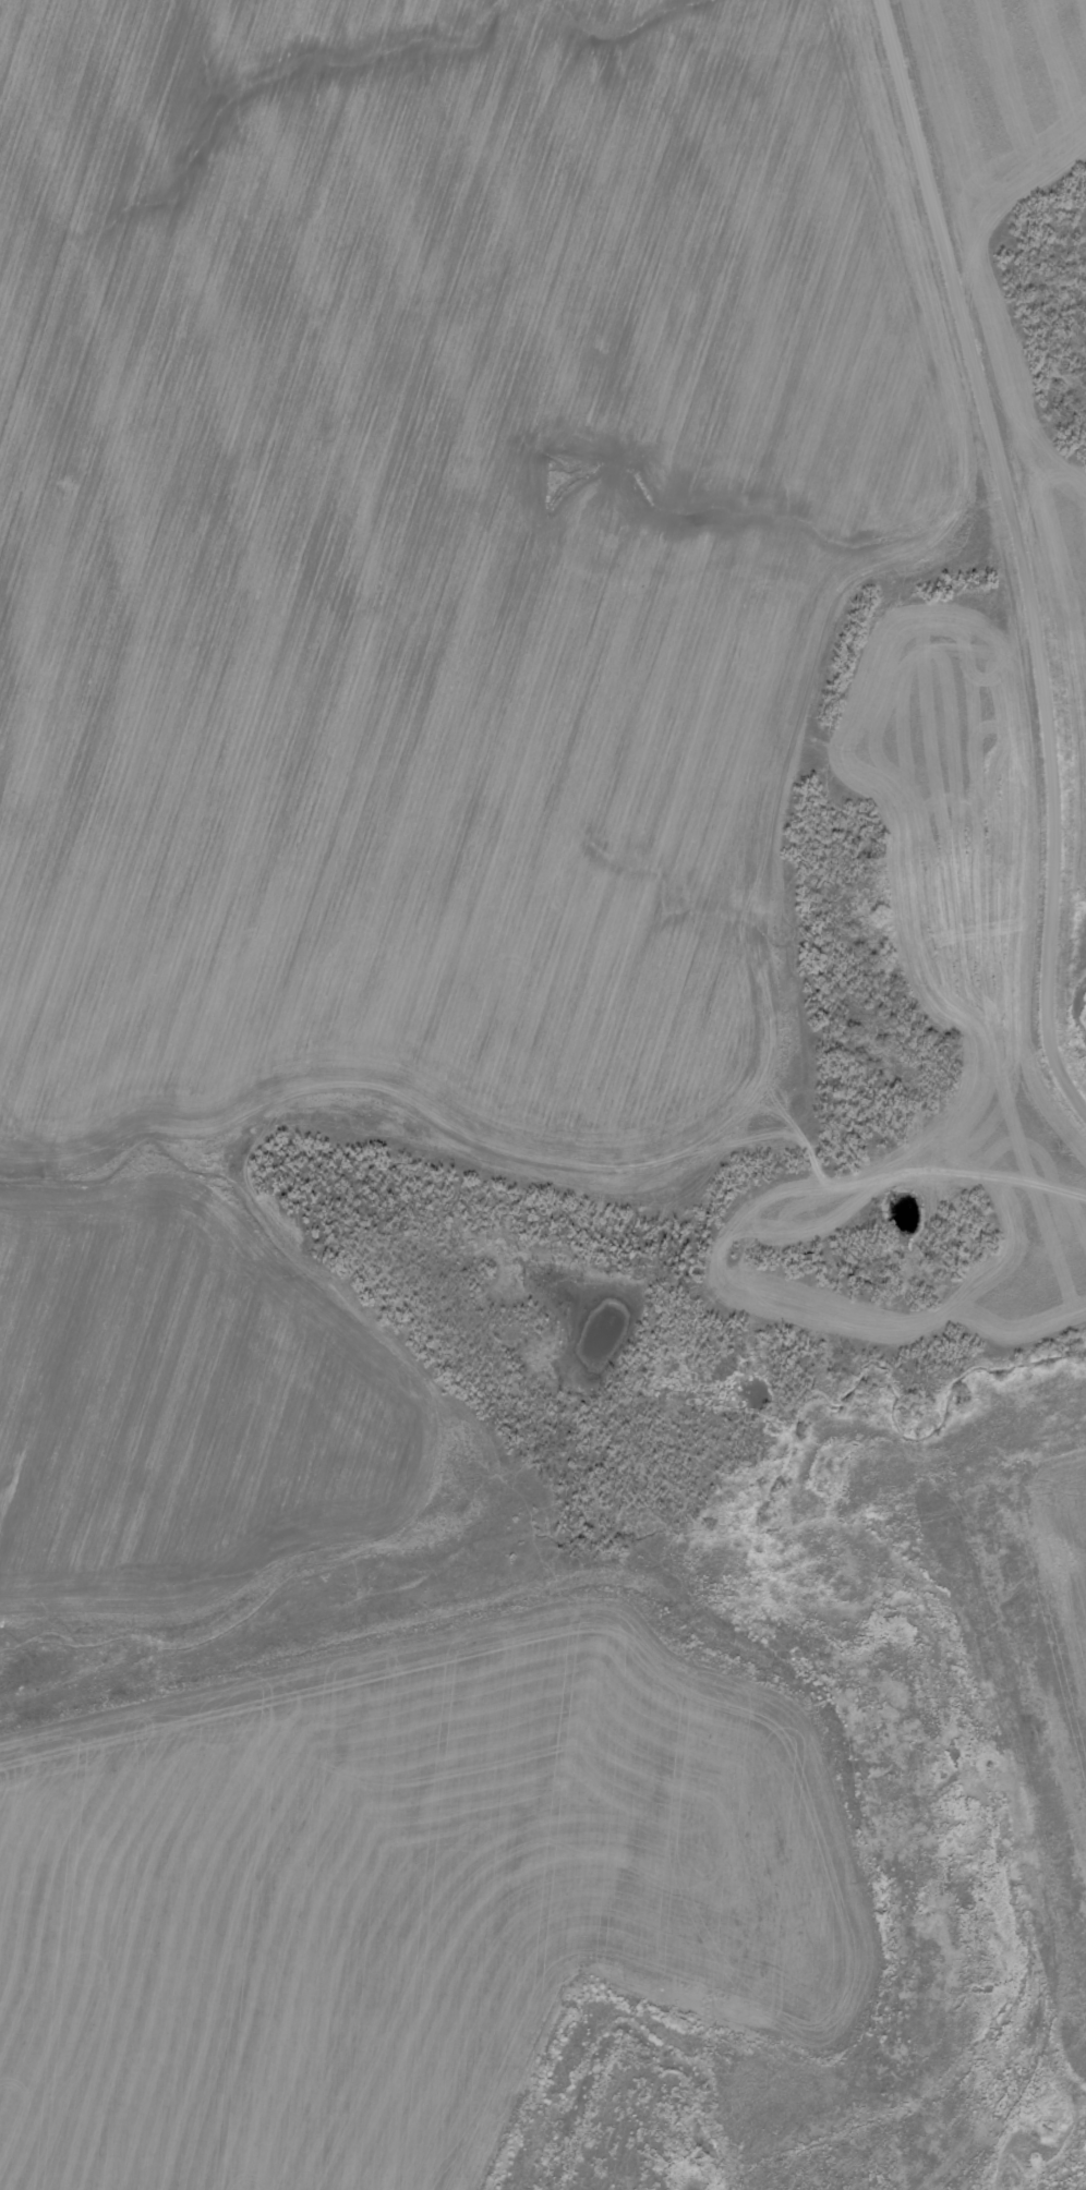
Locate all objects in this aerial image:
road: (1022, 559)

